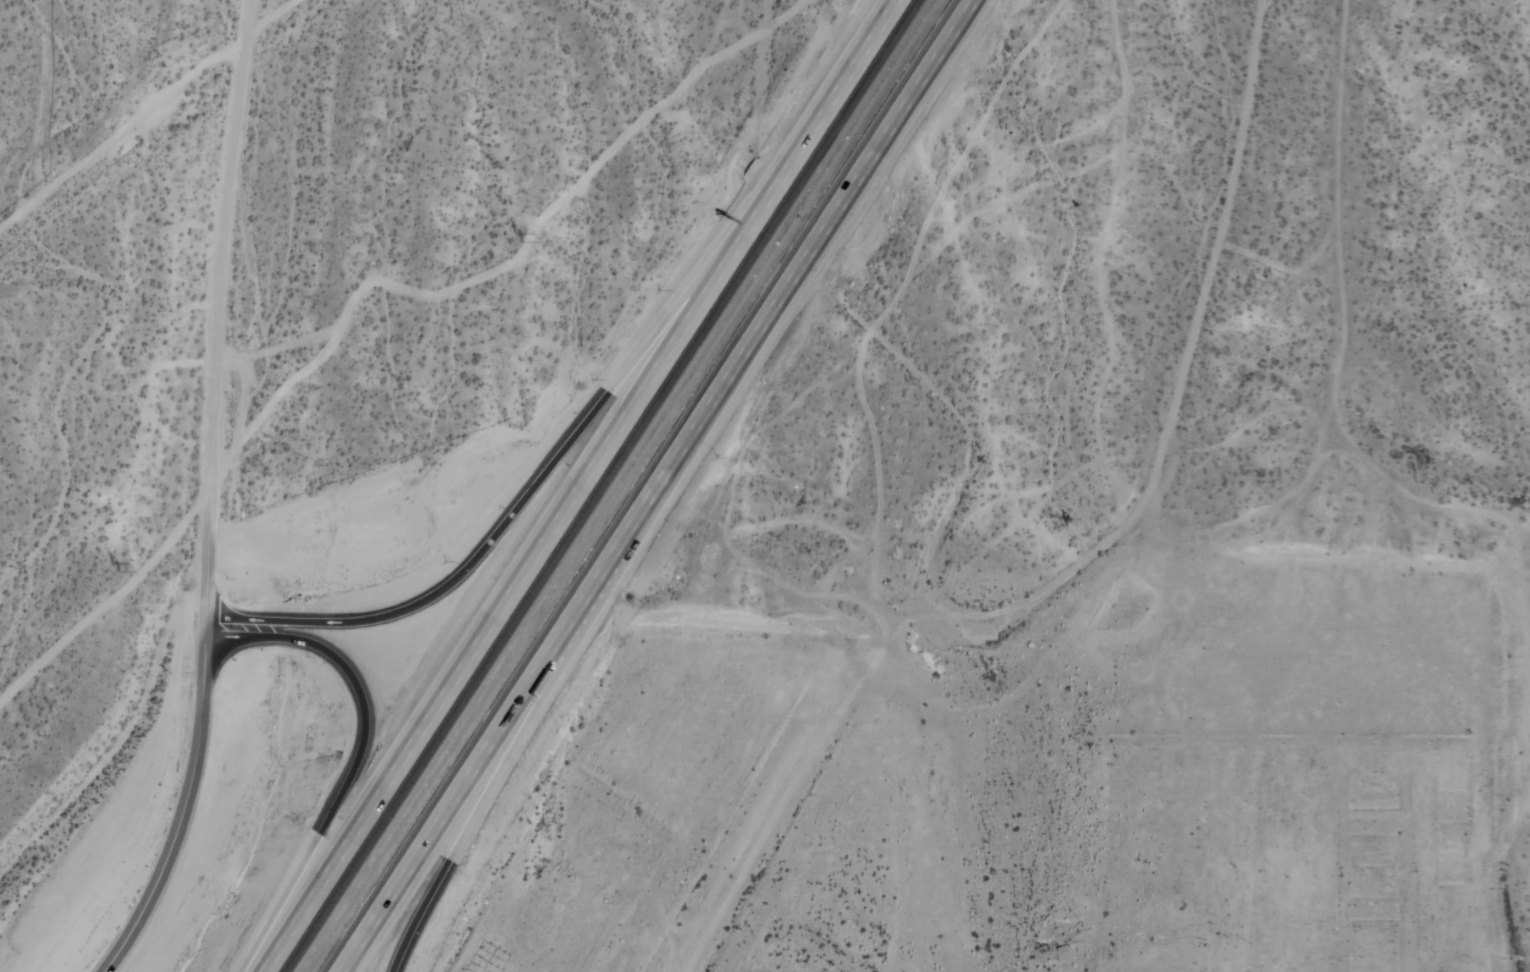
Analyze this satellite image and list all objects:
road: (832, 89)
power tower: (573, 176)
road: (801, 267)
road: (217, 308)
power tower: (309, 387)
road: (538, 484)
railway: (612, 485)
power tower: (94, 567)
road: (520, 575)
road: (593, 594)
road: (360, 758)
road: (187, 803)
road: (448, 812)
road: (476, 812)

